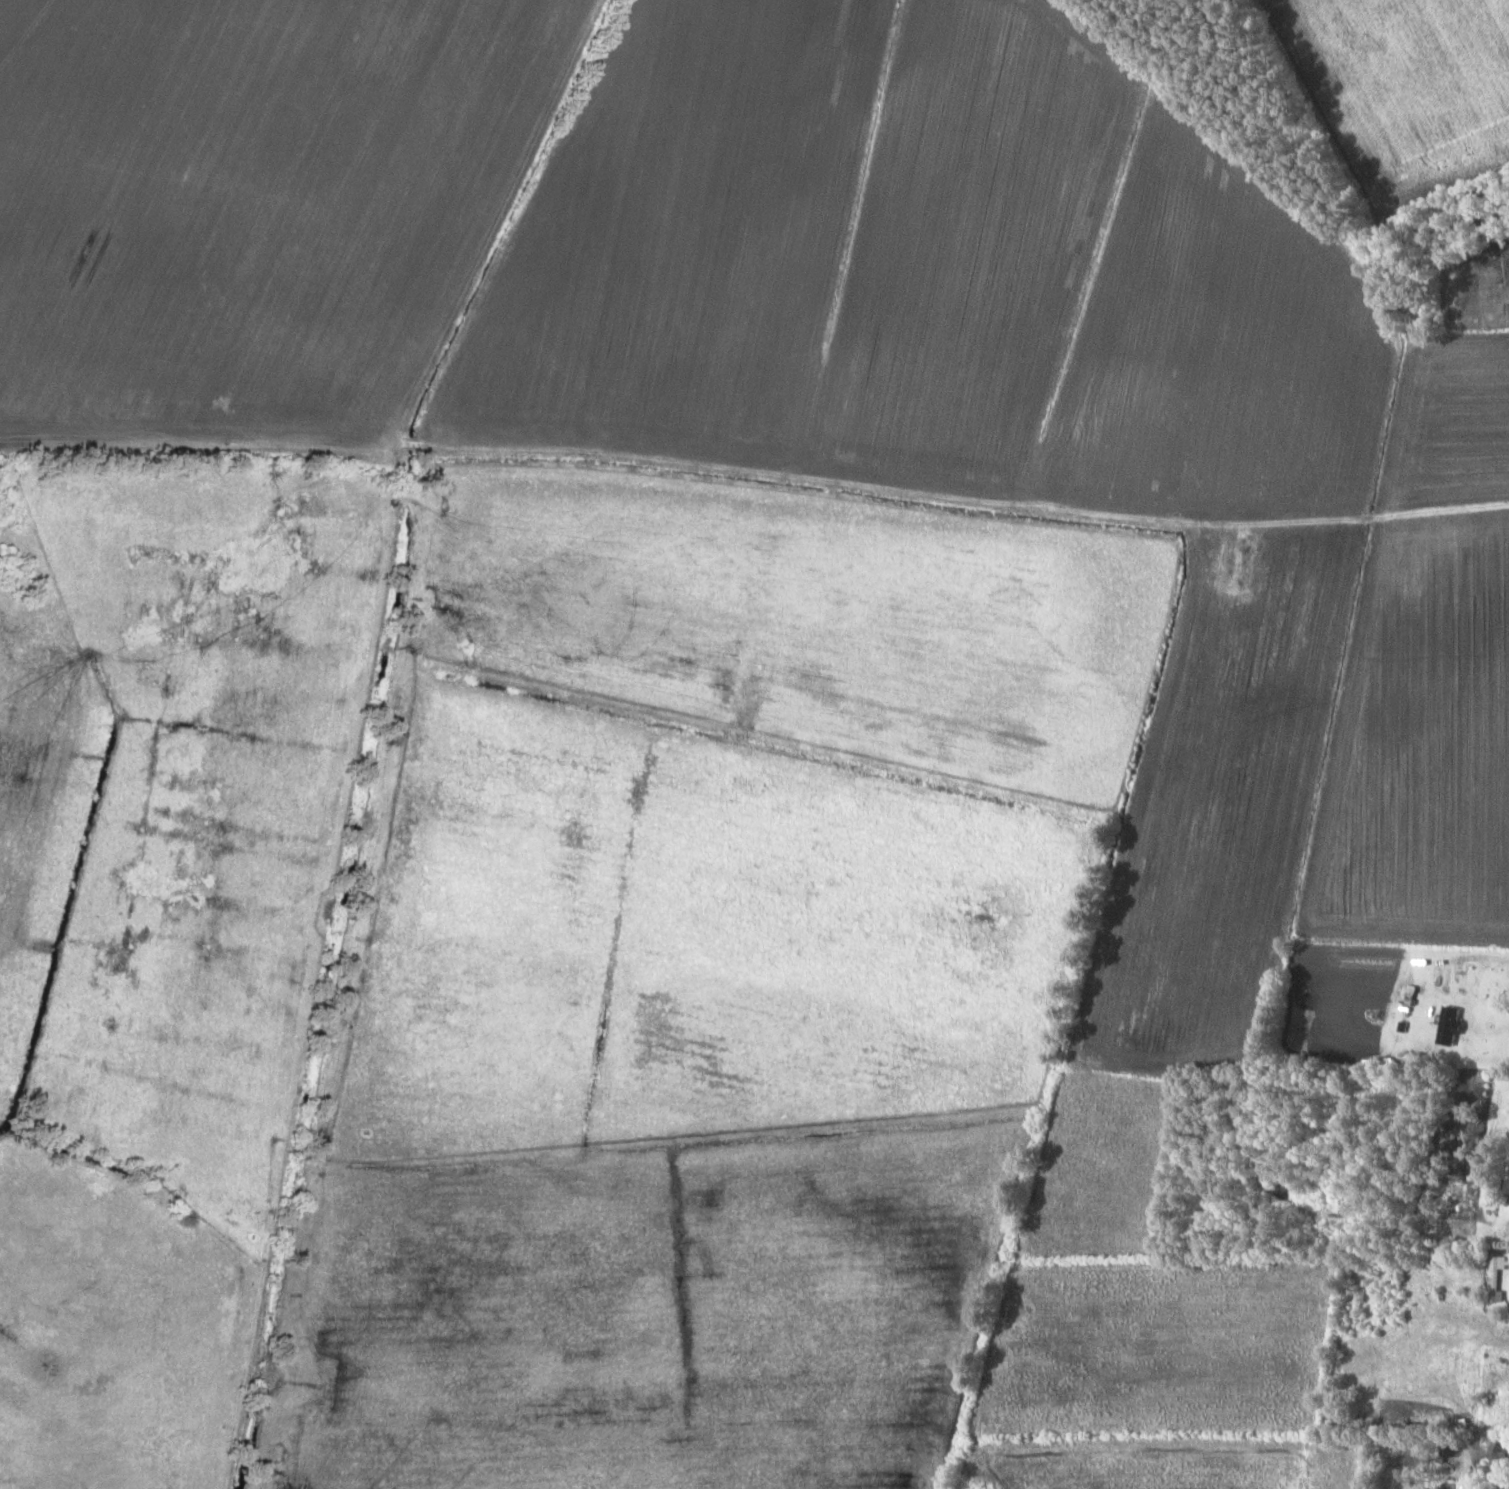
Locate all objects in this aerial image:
road: (986, 467)
building: (1449, 1026)
building: (1502, 1449)

